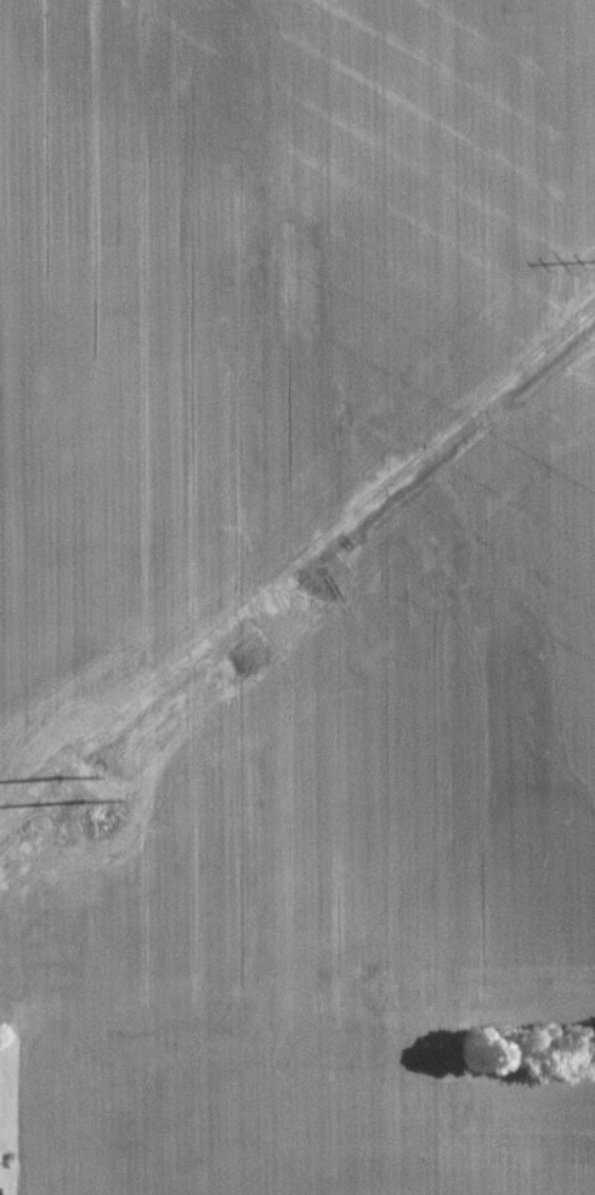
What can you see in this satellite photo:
power tower: (92, 816)

